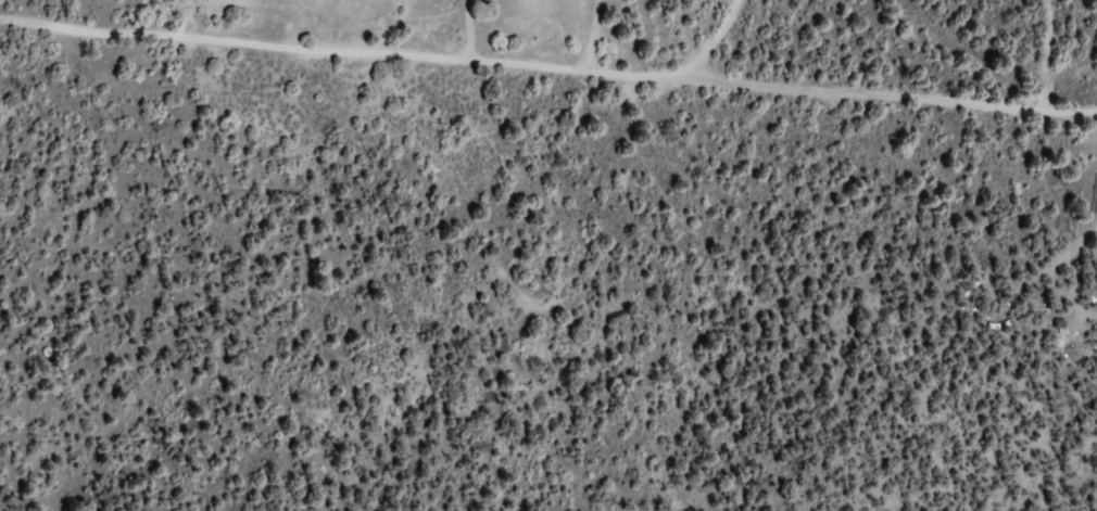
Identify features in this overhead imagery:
road: (704, 49)
road: (547, 66)

